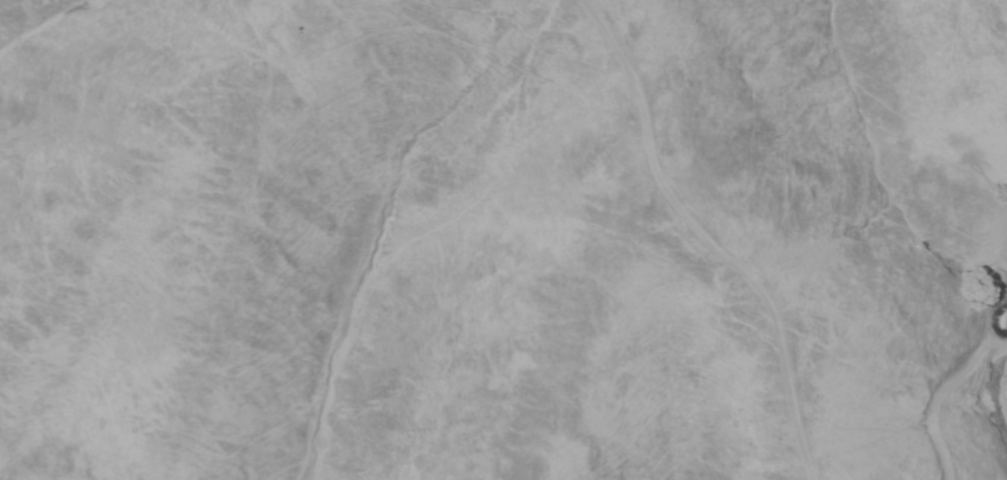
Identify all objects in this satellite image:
road: (705, 238)

